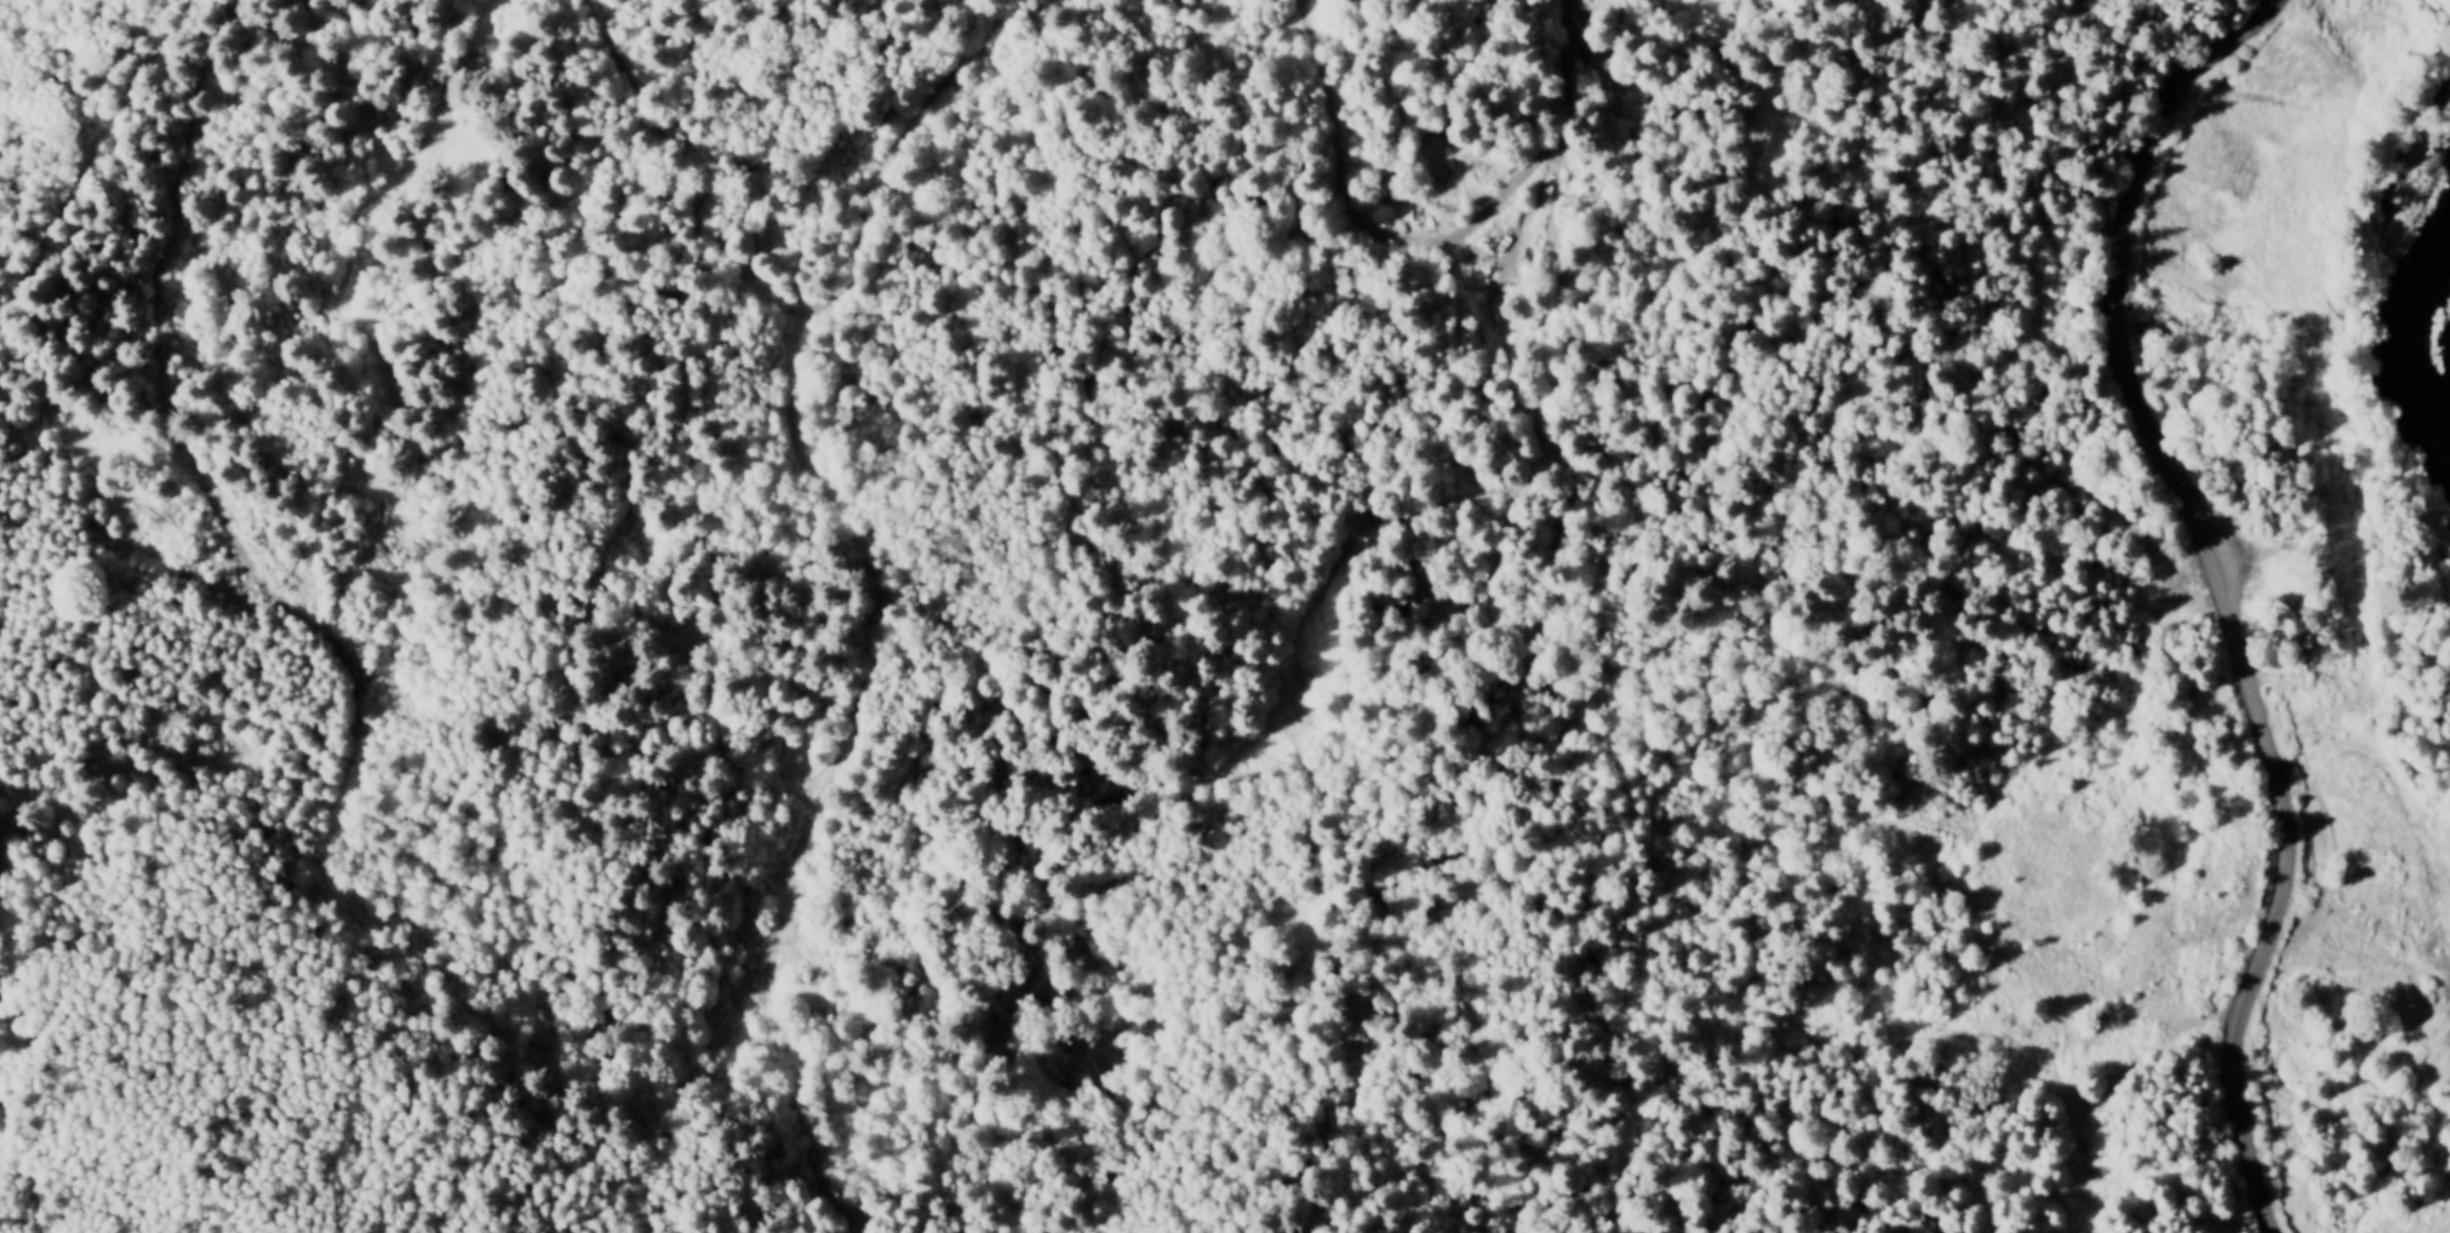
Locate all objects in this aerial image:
river: (2425, 326)
road: (2216, 589)
road: (2398, 788)

